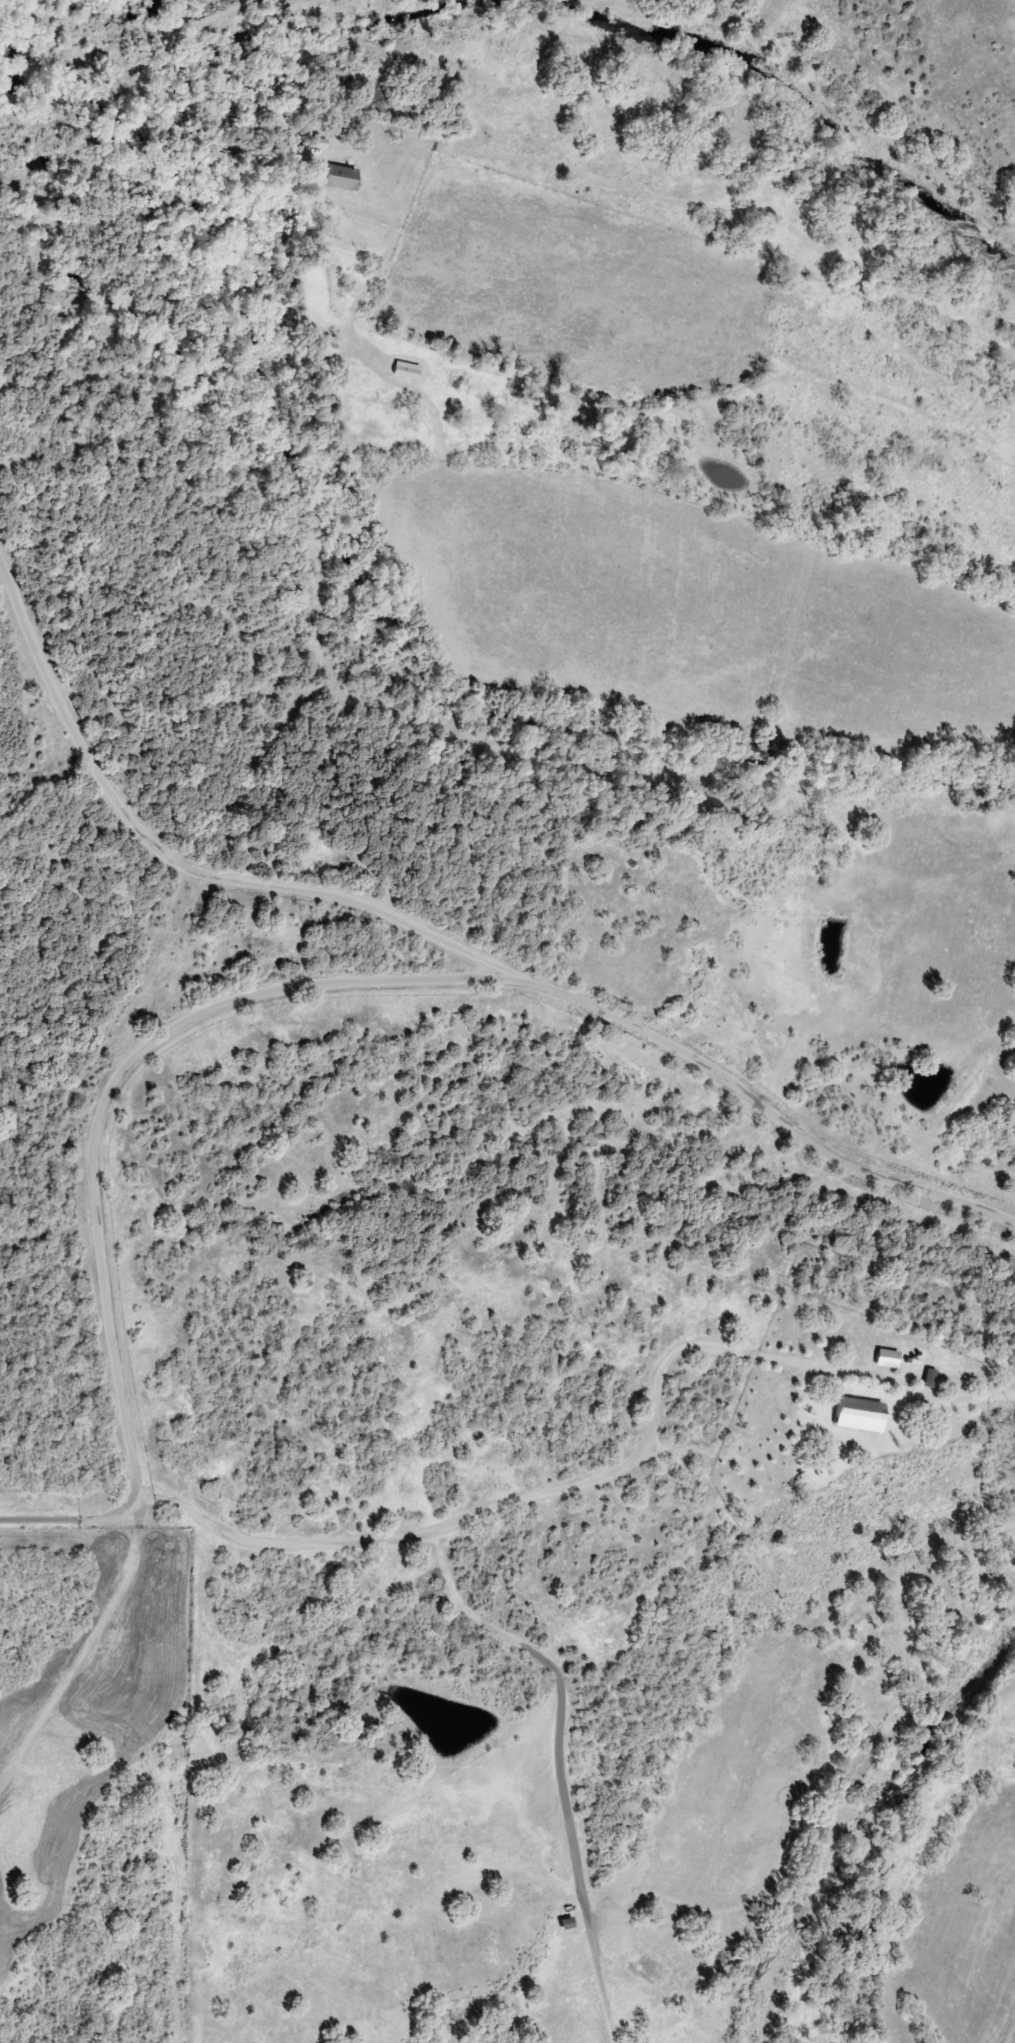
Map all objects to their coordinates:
building: (343, 178)
building: (411, 370)
road: (451, 939)
road: (91, 1129)
building: (850, 1415)
building: (813, 1470)

